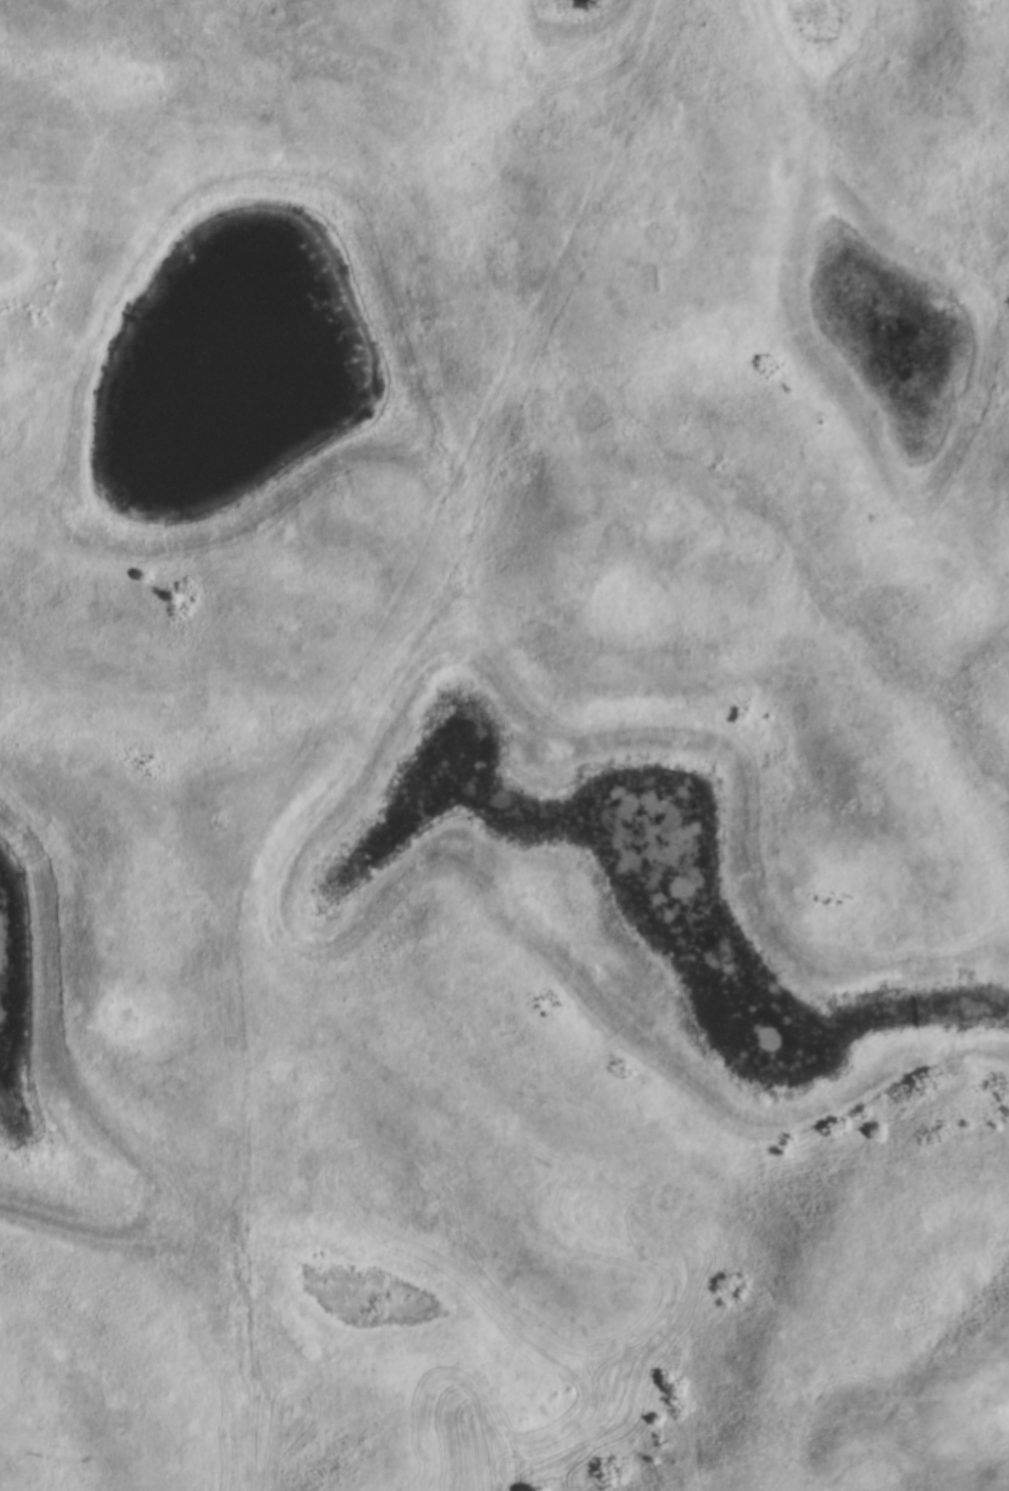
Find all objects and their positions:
road: (489, 385)

